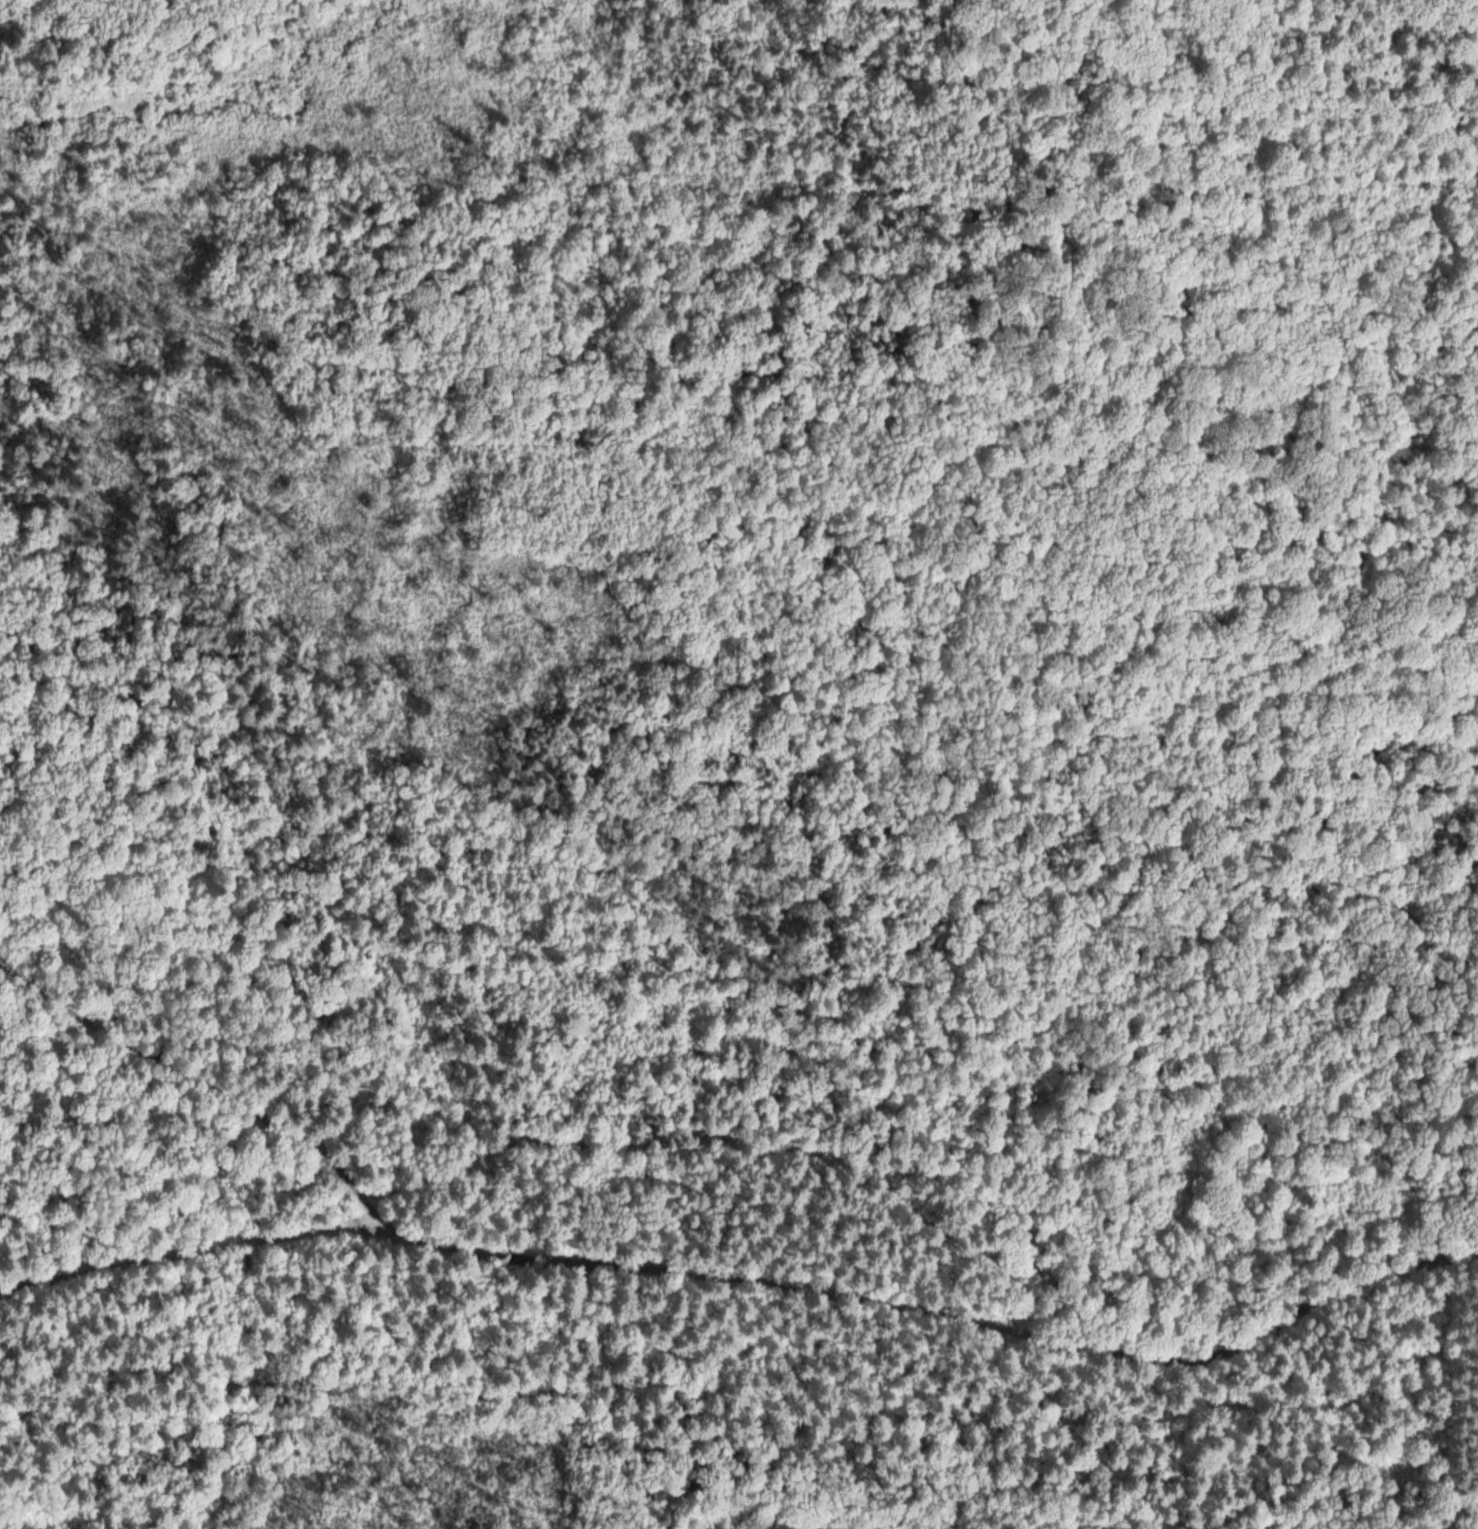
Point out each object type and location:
road: (195, 1253)
road: (705, 1276)

